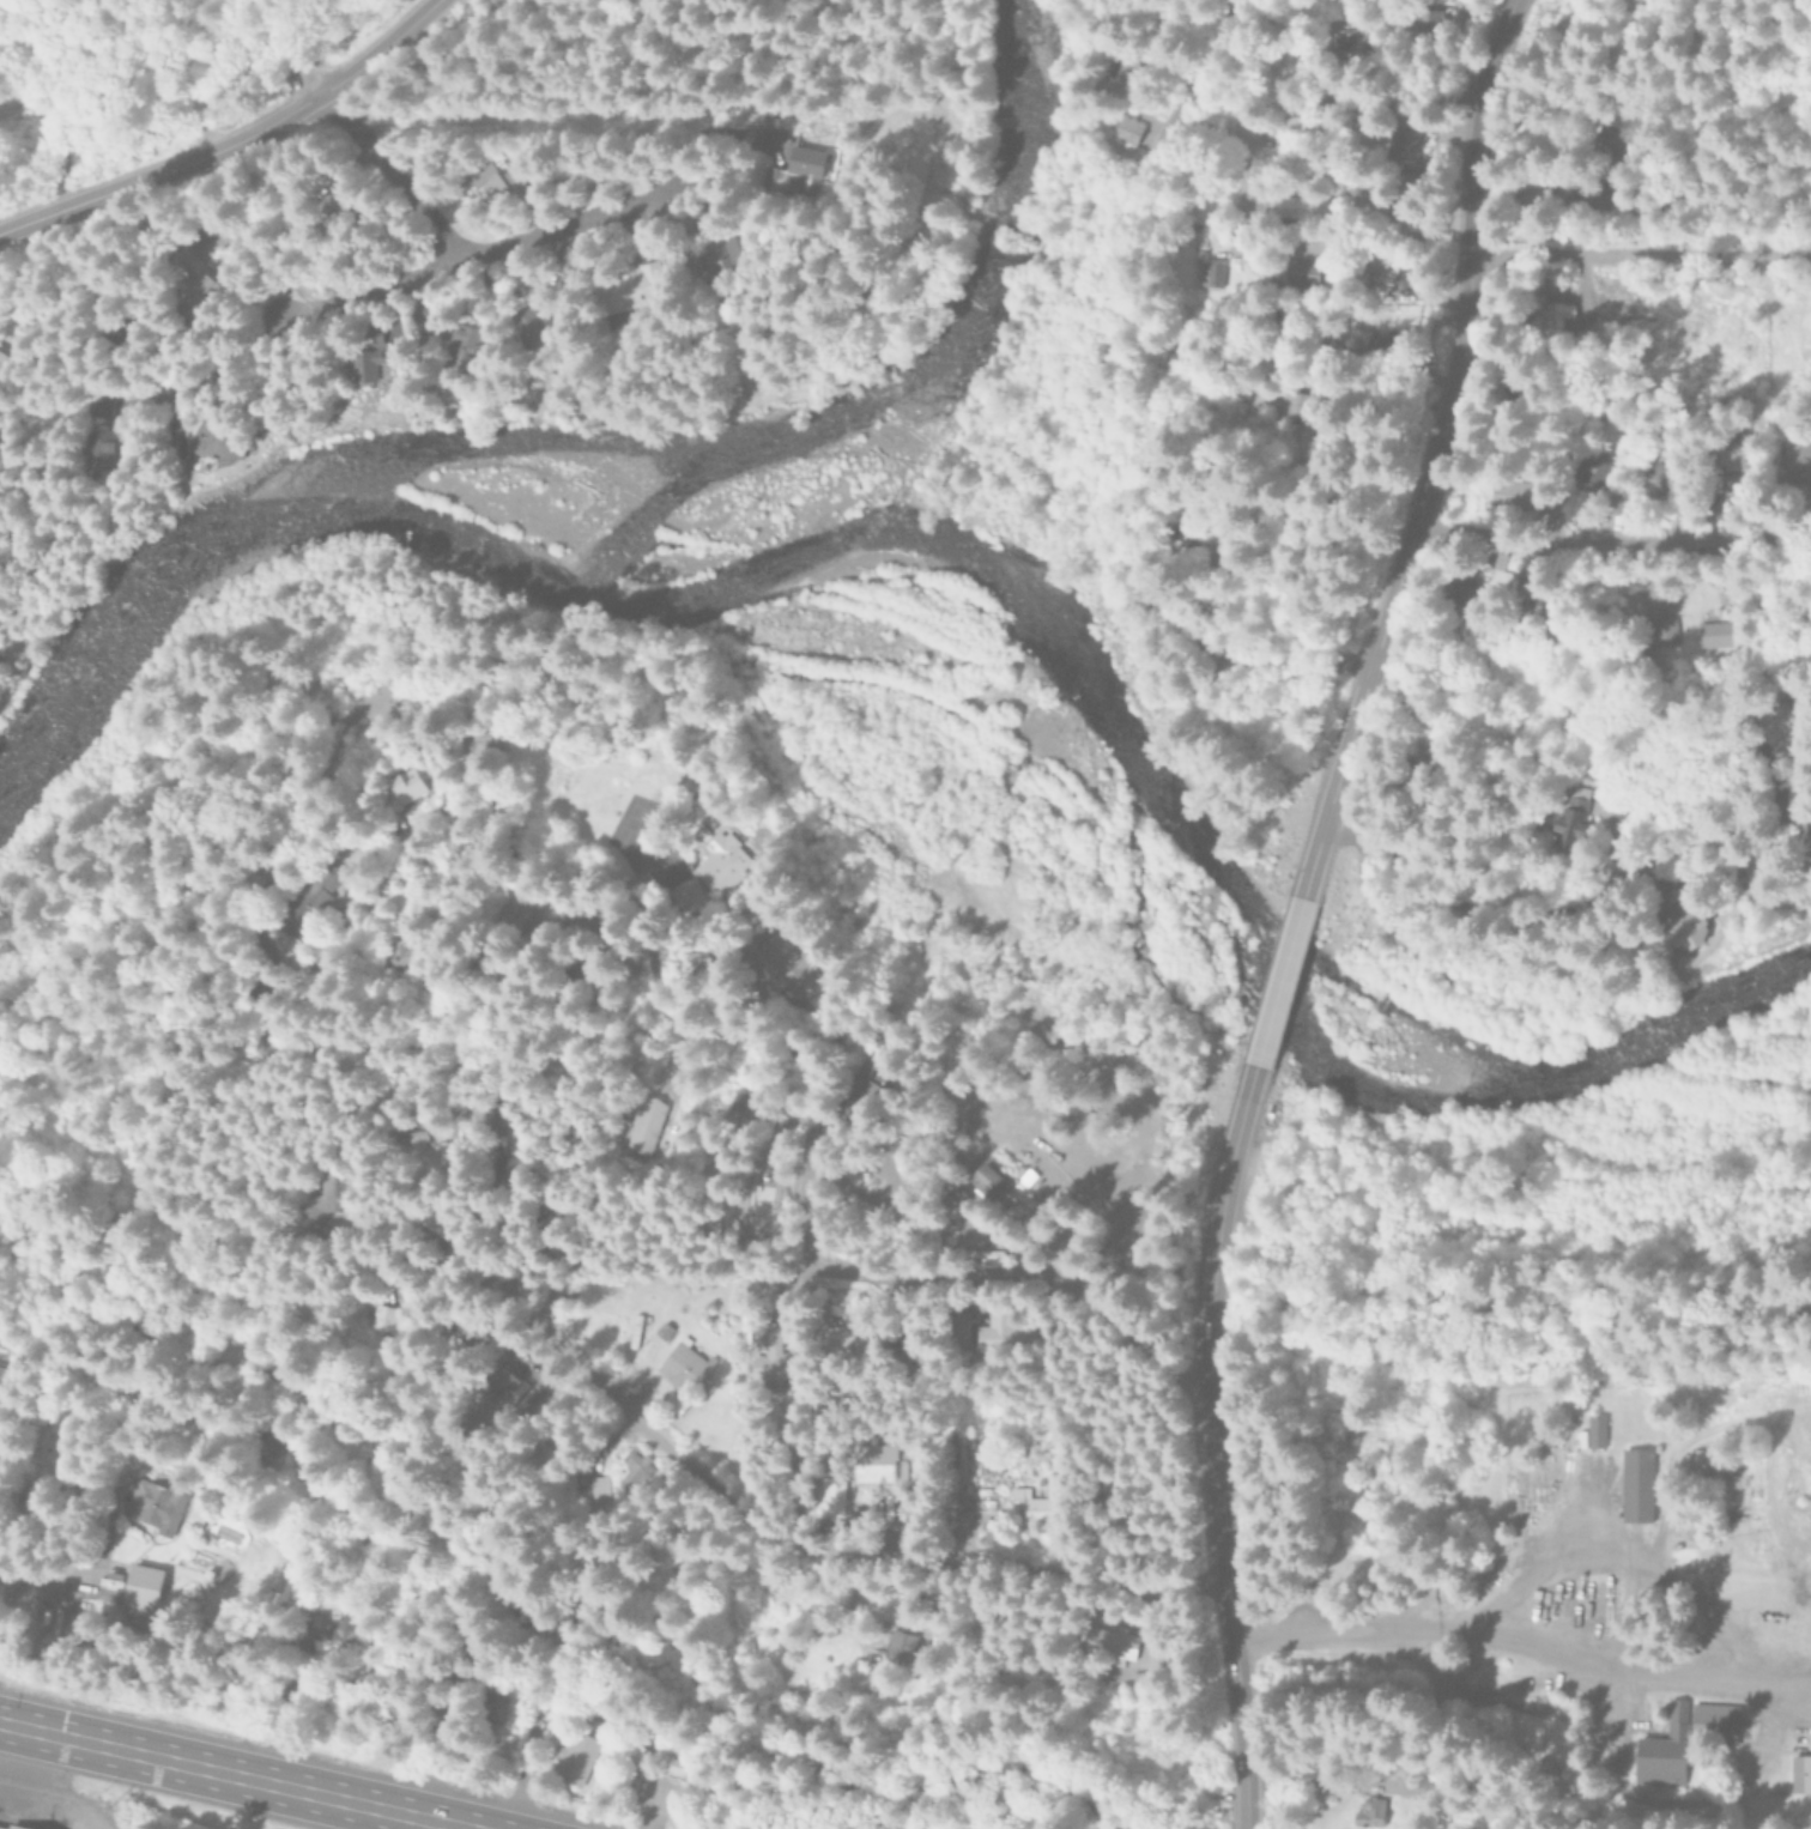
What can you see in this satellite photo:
building: (1422, 23)
building: (1341, 36)
road: (280, 50)
road: (46, 104)
building: (1121, 131)
road: (225, 135)
building: (1395, 140)
building: (1601, 143)
building: (797, 172)
road: (1322, 177)
building: (487, 180)
building: (1524, 199)
building: (1291, 205)
road: (497, 244)
road: (199, 247)
road: (1640, 255)
building: (719, 258)
building: (1375, 261)
building: (1197, 269)
building: (1284, 269)
building: (1297, 271)
building: (187, 283)
building: (635, 287)
building: (1540, 311)
building: (1392, 316)
building: (525, 322)
road: (235, 329)
building: (465, 347)
building: (0, 362)
building: (370, 363)
building: (1284, 402)
building: (91, 407)
road: (1083, 417)
river: (605, 431)
building: (95, 448)
road: (1440, 454)
building: (1720, 460)
building: (1792, 465)
building: (1595, 474)
building: (1652, 476)
building: (1508, 493)
river: (650, 504)
road: (1615, 545)
building: (1466, 580)
building: (1660, 631)
building: (1707, 631)
building: (1770, 725)
river: (1128, 731)
building: (481, 740)
building: (1415, 757)
building: (408, 786)
building: (1563, 818)
building: (1803, 859)
building: (726, 864)
building: (1749, 880)
building: (315, 901)
road: (1569, 904)
building: (1674, 925)
building: (402, 953)
building: (792, 961)
road: (1278, 980)
road: (768, 1031)
building: (744, 1106)
building: (648, 1126)
building: (510, 1170)
building: (987, 1179)
building: (331, 1195)
road: (1054, 1282)
building: (383, 1321)
building: (1000, 1330)
building: (852, 1336)
building: (774, 1352)
building: (686, 1367)
building: (1, 1376)
building: (509, 1389)
building: (1597, 1430)
road: (1215, 1445)
building: (1700, 1461)
building: (874, 1464)
building: (634, 1471)
building: (1637, 1485)
building: (599, 1490)
building: (832, 1496)
building: (1036, 1504)
building: (153, 1506)
road: (802, 1544)
building: (144, 1586)
road: (126, 1625)
building: (343, 1629)
road: (35, 1633)
road: (1522, 1639)
building: (1114, 1643)
building: (900, 1647)
building: (1156, 1660)
traffic signals: (16, 1724)
building: (1683, 1739)
road: (10, 1745)
building: (576, 1758)
building: (677, 1767)
road: (523, 1772)
road: (238, 1774)
building: (1801, 1774)
road: (48, 1794)
road: (655, 1799)
building: (1370, 1812)
building: (19, 1824)

